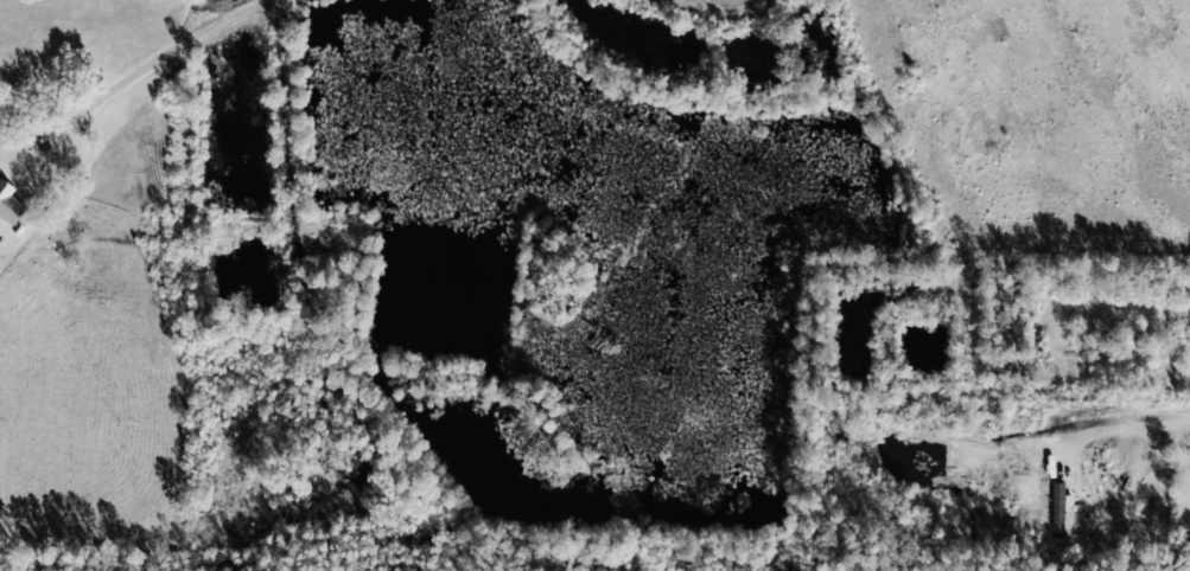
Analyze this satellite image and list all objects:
road: (85, 101)
building: (11, 204)

